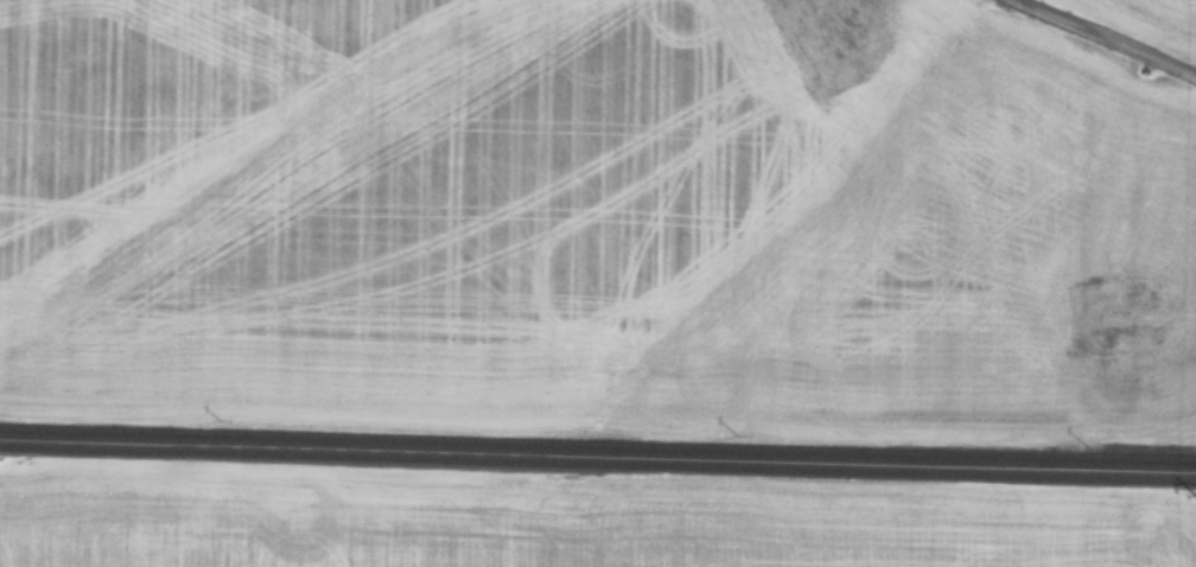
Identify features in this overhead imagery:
road: (1117, 33)
road: (598, 440)

